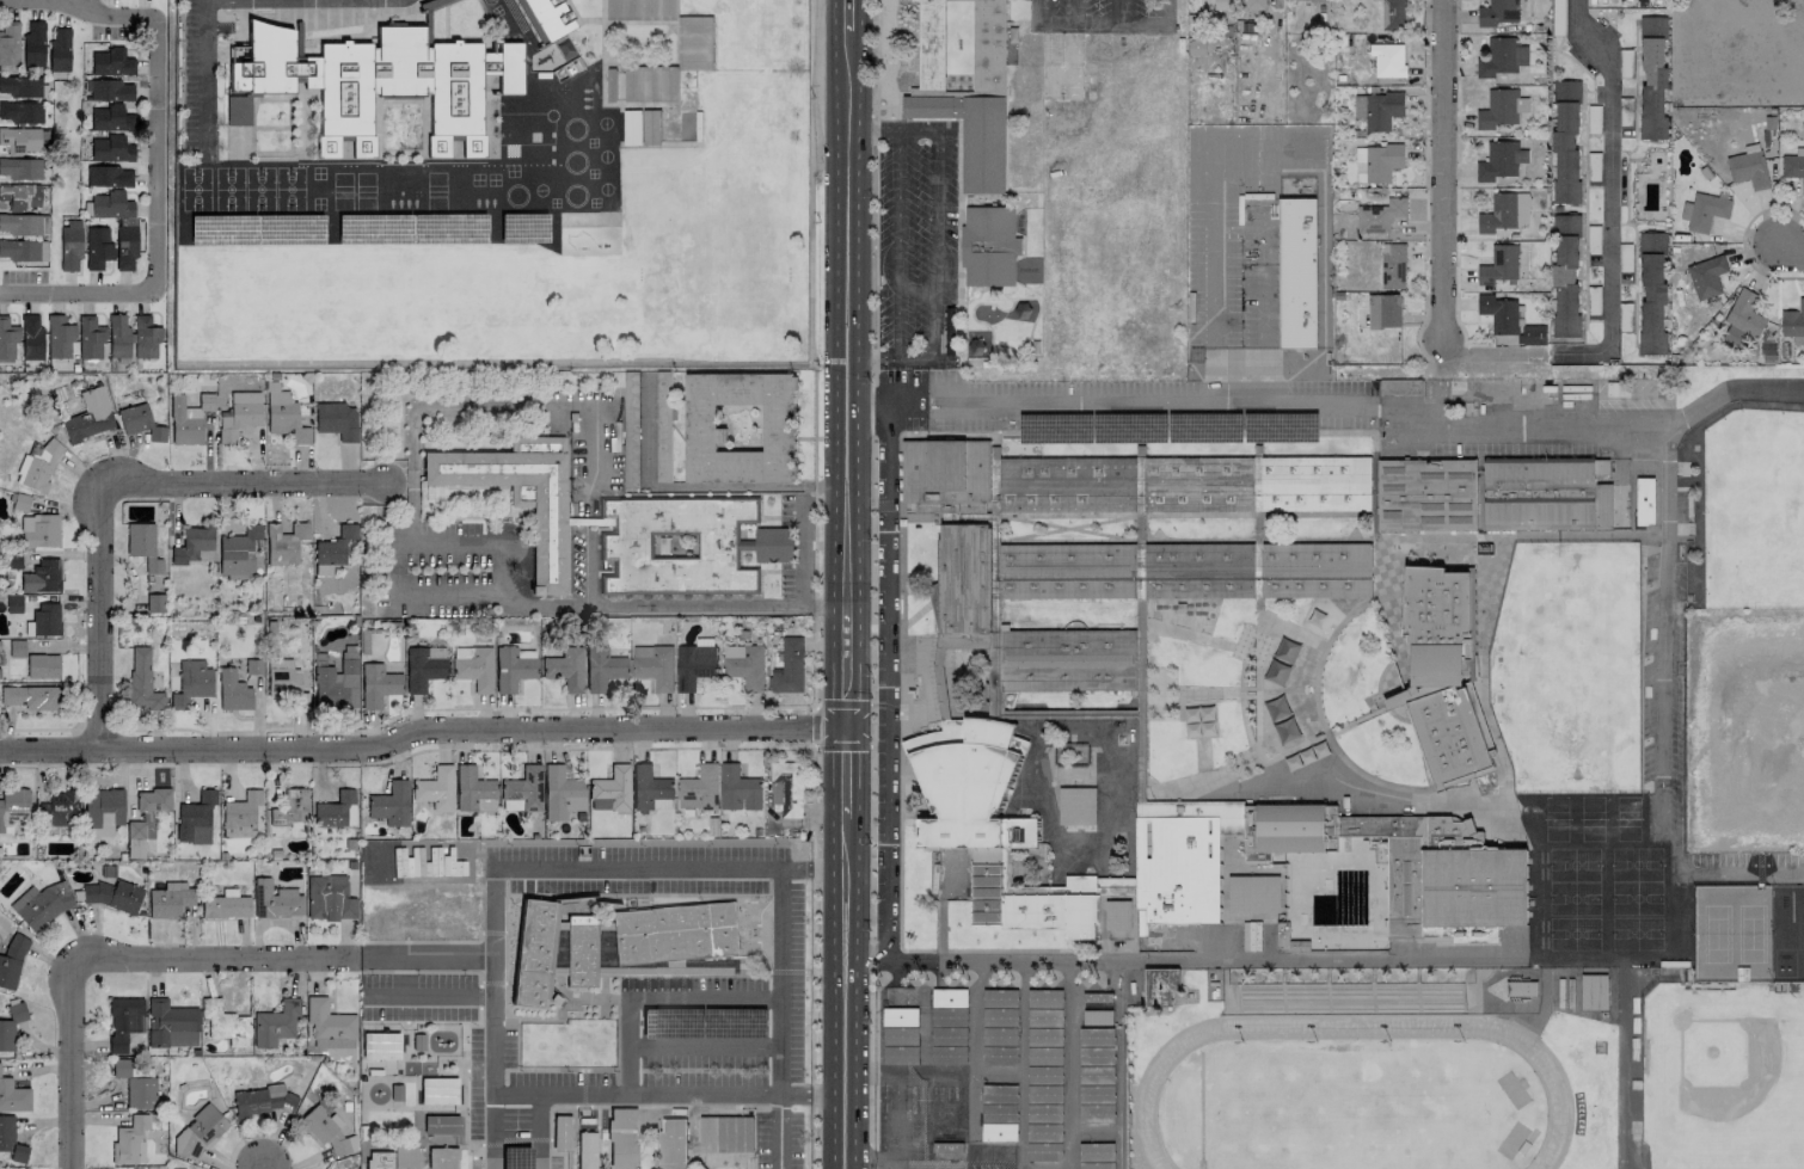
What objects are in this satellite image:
building: (1308, 0)
road: (1276, 2)
road: (81, 5)
building: (1221, 5)
building: (1254, 5)
building: (640, 10)
road: (1036, 10)
road: (1167, 10)
road: (1073, 11)
road: (1124, 11)
building: (1498, 12)
building: (1392, 14)
parking lot: (1107, 17)
building: (548, 18)
road: (1102, 21)
building: (695, 43)
building: (987, 43)
building: (32, 44)
building: (928, 44)
building: (8, 47)
building: (1196, 48)
building: (59, 50)
building: (1501, 57)
building: (1387, 60)
building: (111, 62)
road: (876, 64)
park: (1060, 66)
road: (202, 74)
building: (1652, 78)
building: (378, 81)
building: (650, 84)
building: (20, 86)
building: (108, 90)
building: (1358, 106)
building: (1498, 109)
building: (1382, 110)
building: (20, 111)
building: (110, 118)
building: (968, 133)
building: (20, 140)
building: (1565, 143)
building: (110, 148)
road: (155, 153)
building: (1499, 161)
building: (1376, 162)
building: (19, 167)
road: (1608, 167)
road: (1441, 168)
building: (1793, 168)
building: (1748, 170)
building: (109, 176)
building: (19, 196)
road: (848, 203)
building: (110, 204)
road: (935, 208)
building: (1704, 211)
building: (1504, 213)
building: (1379, 215)
road: (1211, 216)
road: (810, 222)
building: (19, 223)
road: (934, 226)
road: (955, 235)
parking lot: (916, 241)
road: (932, 242)
building: (97, 246)
building: (125, 246)
building: (964, 246)
building: (69, 247)
building: (23, 250)
road: (1790, 251)
park: (533, 263)
building: (1498, 265)
building: (1392, 266)
building: (1296, 273)
building: (1565, 276)
building: (1706, 277)
road: (1262, 293)
building: (1652, 294)
building: (1383, 312)
building: (1498, 314)
road: (873, 318)
building: (1742, 319)
building: (1793, 324)
building: (1533, 334)
building: (30, 337)
building: (57, 337)
building: (90, 337)
building: (117, 337)
building: (145, 338)
building: (7, 340)
building: (205, 401)
road: (1237, 404)
road: (1027, 405)
building: (283, 414)
building: (88, 416)
building: (239, 416)
road: (1389, 416)
building: (336, 420)
building: (139, 422)
building: (184, 422)
road: (1625, 425)
building: (740, 427)
road: (846, 448)
road: (812, 450)
building: (37, 466)
building: (944, 470)
road: (398, 481)
building: (1197, 484)
building: (1314, 484)
road: (1668, 484)
road: (116, 485)
building: (1066, 485)
road: (693, 486)
building: (519, 494)
building: (1426, 494)
building: (1546, 494)
park: (1747, 497)
building: (19, 502)
building: (1644, 502)
road: (886, 504)
building: (38, 530)
road: (471, 540)
road: (886, 540)
building: (284, 542)
building: (142, 544)
building: (191, 544)
building: (677, 546)
building: (774, 546)
road: (804, 546)
building: (332, 549)
building: (238, 550)
building: (1197, 570)
building: (1314, 570)
building: (1066, 571)
building: (42, 577)
building: (964, 578)
road: (393, 582)
building: (154, 603)
road: (870, 603)
road: (845, 609)
building: (44, 619)
building: (16, 647)
building: (1140, 647)
park: (1556, 657)
building: (1066, 659)
building: (1281, 662)
building: (42, 665)
building: (693, 665)
building: (744, 665)
building: (253, 666)
building: (423, 666)
building: (473, 666)
building: (654, 666)
building: (511, 667)
building: (602, 667)
building: (789, 667)
building: (565, 669)
building: (1441, 673)
building: (282, 678)
building: (141, 679)
building: (191, 683)
building: (376, 684)
building: (336, 685)
building: (232, 690)
building: (30, 697)
road: (840, 705)
road: (884, 706)
road: (839, 722)
building: (1199, 722)
road: (870, 726)
road: (840, 727)
road: (421, 730)
building: (1285, 731)
road: (820, 747)
road: (516, 749)
road: (1664, 771)
building: (964, 774)
road: (843, 777)
building: (435, 788)
building: (786, 788)
building: (610, 789)
building: (699, 789)
building: (738, 789)
building: (473, 790)
building: (522, 790)
building: (650, 790)
building: (560, 793)
building: (389, 804)
building: (103, 806)
building: (292, 806)
building: (1076, 806)
building: (12, 807)
building: (59, 810)
building: (336, 811)
building: (240, 814)
road: (888, 817)
building: (195, 818)
building: (145, 820)
building: (1296, 827)
building: (1251, 837)
park: (1626, 856)
park: (1561, 857)
building: (1179, 860)
road: (553, 867)
road: (826, 868)
building: (1444, 874)
road: (669, 893)
building: (1253, 894)
park: (1626, 894)
building: (113, 896)
park: (1564, 896)
building: (329, 898)
building: (275, 899)
building: (168, 902)
building: (41, 905)
building: (225, 906)
road: (504, 912)
building: (1117, 916)
park: (1704, 922)
park: (1743, 923)
park: (1564, 927)
park: (1626, 929)
road: (491, 931)
building: (674, 931)
building: (1438, 933)
road: (423, 941)
building: (578, 948)
building: (533, 953)
road: (425, 955)
road: (112, 958)
road: (869, 958)
road: (1264, 958)
road: (1038, 960)
building: (11, 961)
road: (888, 961)
road: (424, 971)
road: (790, 971)
road: (777, 982)
road: (491, 983)
building: (1159, 986)
road: (424, 988)
building: (1338, 988)
road: (478, 996)
road: (655, 998)
road: (843, 998)
building: (949, 998)
building: (1000, 998)
building: (1044, 998)
building: (900, 1017)
building: (327, 1020)
building: (123, 1021)
road: (411, 1021)
parking lot: (689, 1022)
building: (170, 1023)
building: (225, 1023)
building: (275, 1023)
building: (10, 1025)
road: (406, 1038)
park: (565, 1042)
building: (378, 1044)
road: (418, 1056)
building: (998, 1056)
road: (811, 1070)
road: (450, 1072)
park: (1723, 1076)
road: (399, 1077)
building: (135, 1083)
road: (461, 1085)
building: (437, 1089)
road: (649, 1094)
building: (13, 1096)
road: (824, 1097)
building: (262, 1101)
park: (1340, 1102)
building: (1096, 1113)
road: (492, 1116)
building: (440, 1122)
building: (326, 1131)
building: (198, 1132)
road: (775, 1132)
building: (995, 1132)
building: (725, 1134)
building: (10, 1139)
building: (620, 1139)
building: (129, 1140)
parking lot: (777, 1140)
road: (465, 1144)
building: (671, 1144)
building: (585, 1150)
building: (404, 1156)
road: (456, 1156)
building: (440, 1157)
road: (466, 1157)
road: (866, 1157)
building: (378, 1159)
parking lot: (516, 1162)
road: (891, 1163)
road: (262, 1165)

